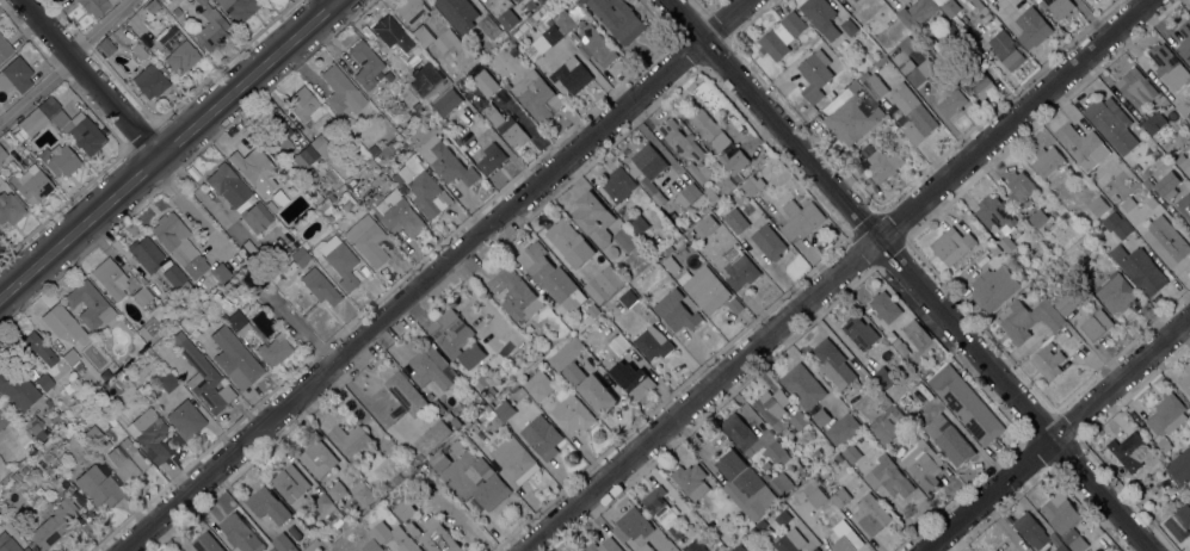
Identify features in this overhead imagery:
building: (518, 0)
building: (539, 0)
building: (853, 0)
building: (856, 0)
building: (530, 4)
building: (978, 4)
building: (94, 6)
building: (152, 6)
building: (950, 7)
building: (1060, 7)
building: (239, 8)
building: (984, 10)
building: (412, 11)
building: (175, 12)
building: (917, 12)
building: (458, 13)
building: (821, 17)
building: (507, 18)
building: (618, 18)
building: (569, 20)
building: (488, 25)
building: (847, 26)
building: (1031, 26)
building: (210, 29)
building: (387, 30)
building: (517, 32)
building: (781, 35)
building: (950, 35)
building: (437, 38)
building: (1184, 39)
building: (510, 42)
building: (597, 44)
building: (105, 47)
building: (4, 48)
building: (1006, 49)
building: (177, 50)
building: (138, 51)
road: (68, 61)
building: (541, 62)
building: (365, 64)
building: (396, 64)
building: (1169, 64)
building: (917, 69)
building: (815, 74)
building: (16, 75)
building: (384, 76)
building: (150, 81)
building: (439, 81)
building: (978, 81)
road: (248, 82)
building: (486, 82)
building: (1135, 86)
building: (341, 92)
building: (537, 95)
building: (1160, 98)
building: (448, 101)
building: (951, 103)
building: (304, 106)
building: (855, 107)
building: (1184, 107)
building: (912, 113)
building: (38, 116)
building: (444, 120)
building: (702, 123)
building: (1111, 123)
building: (505, 125)
building: (1158, 126)
building: (79, 132)
building: (276, 134)
building: (680, 140)
building: (720, 141)
building: (1080, 142)
building: (321, 147)
building: (372, 150)
building: (388, 150)
building: (304, 156)
building: (4, 157)
building: (491, 157)
building: (58, 160)
building: (376, 160)
building: (733, 160)
building: (1047, 160)
building: (1160, 160)
building: (446, 162)
building: (1184, 162)
building: (883, 163)
building: (14, 166)
building: (762, 168)
building: (254, 169)
building: (649, 169)
building: (698, 172)
building: (331, 178)
road: (138, 179)
building: (1166, 181)
building: (725, 182)
road: (171, 184)
building: (618, 184)
building: (32, 185)
building: (226, 185)
building: (752, 185)
building: (421, 186)
building: (1019, 186)
building: (691, 192)
building: (711, 193)
building: (315, 194)
building: (344, 194)
building: (1152, 202)
building: (1128, 203)
building: (269, 204)
building: (1098, 205)
building: (721, 206)
building: (1184, 208)
building: (10, 209)
building: (995, 213)
building: (399, 215)
building: (594, 217)
building: (257, 218)
building: (735, 218)
building: (801, 218)
building: (1040, 218)
building: (637, 224)
building: (1116, 224)
building: (1189, 233)
building: (689, 235)
building: (173, 239)
building: (368, 240)
building: (625, 240)
building: (769, 241)
building: (1165, 241)
building: (571, 242)
building: (1006, 243)
building: (951, 244)
building: (303, 246)
road: (61, 248)
building: (994, 248)
building: (667, 250)
building: (1018, 253)
building: (146, 254)
building: (300, 256)
building: (340, 261)
building: (670, 262)
building: (739, 267)
building: (1139, 267)
building: (218, 273)
road: (437, 274)
road: (834, 274)
road: (910, 274)
building: (550, 275)
building: (110, 278)
building: (1058, 278)
building: (177, 280)
building: (603, 284)
building: (994, 286)
building: (320, 287)
building: (707, 289)
building: (514, 292)
building: (1120, 293)
building: (142, 296)
building: (628, 297)
building: (735, 304)
building: (1066, 304)
building: (90, 305)
building: (886, 307)
building: (593, 310)
building: (676, 311)
building: (1029, 318)
building: (238, 323)
building: (62, 324)
building: (1096, 324)
building: (450, 332)
building: (859, 332)
building: (143, 334)
building: (195, 334)
building: (915, 334)
building: (618, 343)
building: (652, 343)
building: (900, 346)
building: (33, 348)
building: (565, 351)
building: (273, 352)
building: (469, 354)
building: (72, 359)
building: (234, 359)
building: (1047, 360)
building: (430, 366)
building: (837, 366)
building: (30, 372)
building: (574, 373)
building: (882, 376)
building: (122, 378)
building: (204, 379)
building: (633, 379)
building: (482, 380)
building: (1185, 380)
building: (43, 382)
building: (167, 382)
building: (538, 385)
building: (802, 385)
building: (513, 388)
building: (68, 389)
building: (17, 391)
building: (406, 392)
building: (597, 394)
building: (884, 401)
building: (964, 403)
building: (772, 408)
building: (504, 410)
building: (487, 411)
building: (572, 413)
building: (1166, 414)
building: (821, 416)
building: (4, 417)
building: (185, 419)
building: (799, 420)
building: (56, 421)
building: (890, 427)
building: (843, 428)
building: (438, 431)
building: (36, 432)
building: (66, 433)
building: (150, 435)
road: (1058, 435)
building: (542, 437)
building: (753, 438)
building: (351, 439)
building: (949, 439)
building: (99, 444)
building: (1164, 444)
building: (457, 446)
building: (1130, 447)
building: (796, 452)
building: (818, 452)
building: (851, 452)
building: (421, 453)
building: (1161, 457)
building: (317, 458)
building: (838, 458)
building: (439, 460)
building: (514, 460)
building: (131, 462)
building: (407, 464)
building: (765, 464)
building: (923, 464)
building: (1179, 466)
building: (482, 468)
building: (24, 470)
building: (49, 470)
building: (888, 476)
building: (16, 477)
building: (395, 479)
building: (692, 479)
building: (741, 482)
building: (290, 483)
building: (781, 483)
building: (99, 487)
building: (335, 488)
building: (380, 491)
building: (491, 491)
building: (362, 493)
building: (814, 493)
building: (397, 496)
building: (840, 496)
building: (1189, 500)
building: (322, 501)
building: (267, 504)
building: (659, 506)
building: (405, 509)
building: (1061, 512)
building: (871, 514)
building: (334, 516)
building: (1179, 521)
building: (631, 522)
building: (713, 522)
building: (748, 524)
building: (53, 525)
building: (760, 525)
building: (413, 528)
building: (1031, 530)
building: (754, 532)
building: (240, 533)
building: (394, 535)
building: (438, 537)
building: (787, 539)
building: (1074, 539)
building: (325, 540)
building: (716, 540)
building: (847, 541)
building: (206, 543)
building: (283, 543)
building: (7, 544)
building: (371, 545)
building: (604, 545)
building: (695, 546)
building: (645, 547)
building: (736, 547)
building: (1062, 547)
building: (272, 549)
building: (815, 549)
building: (25, 550)

